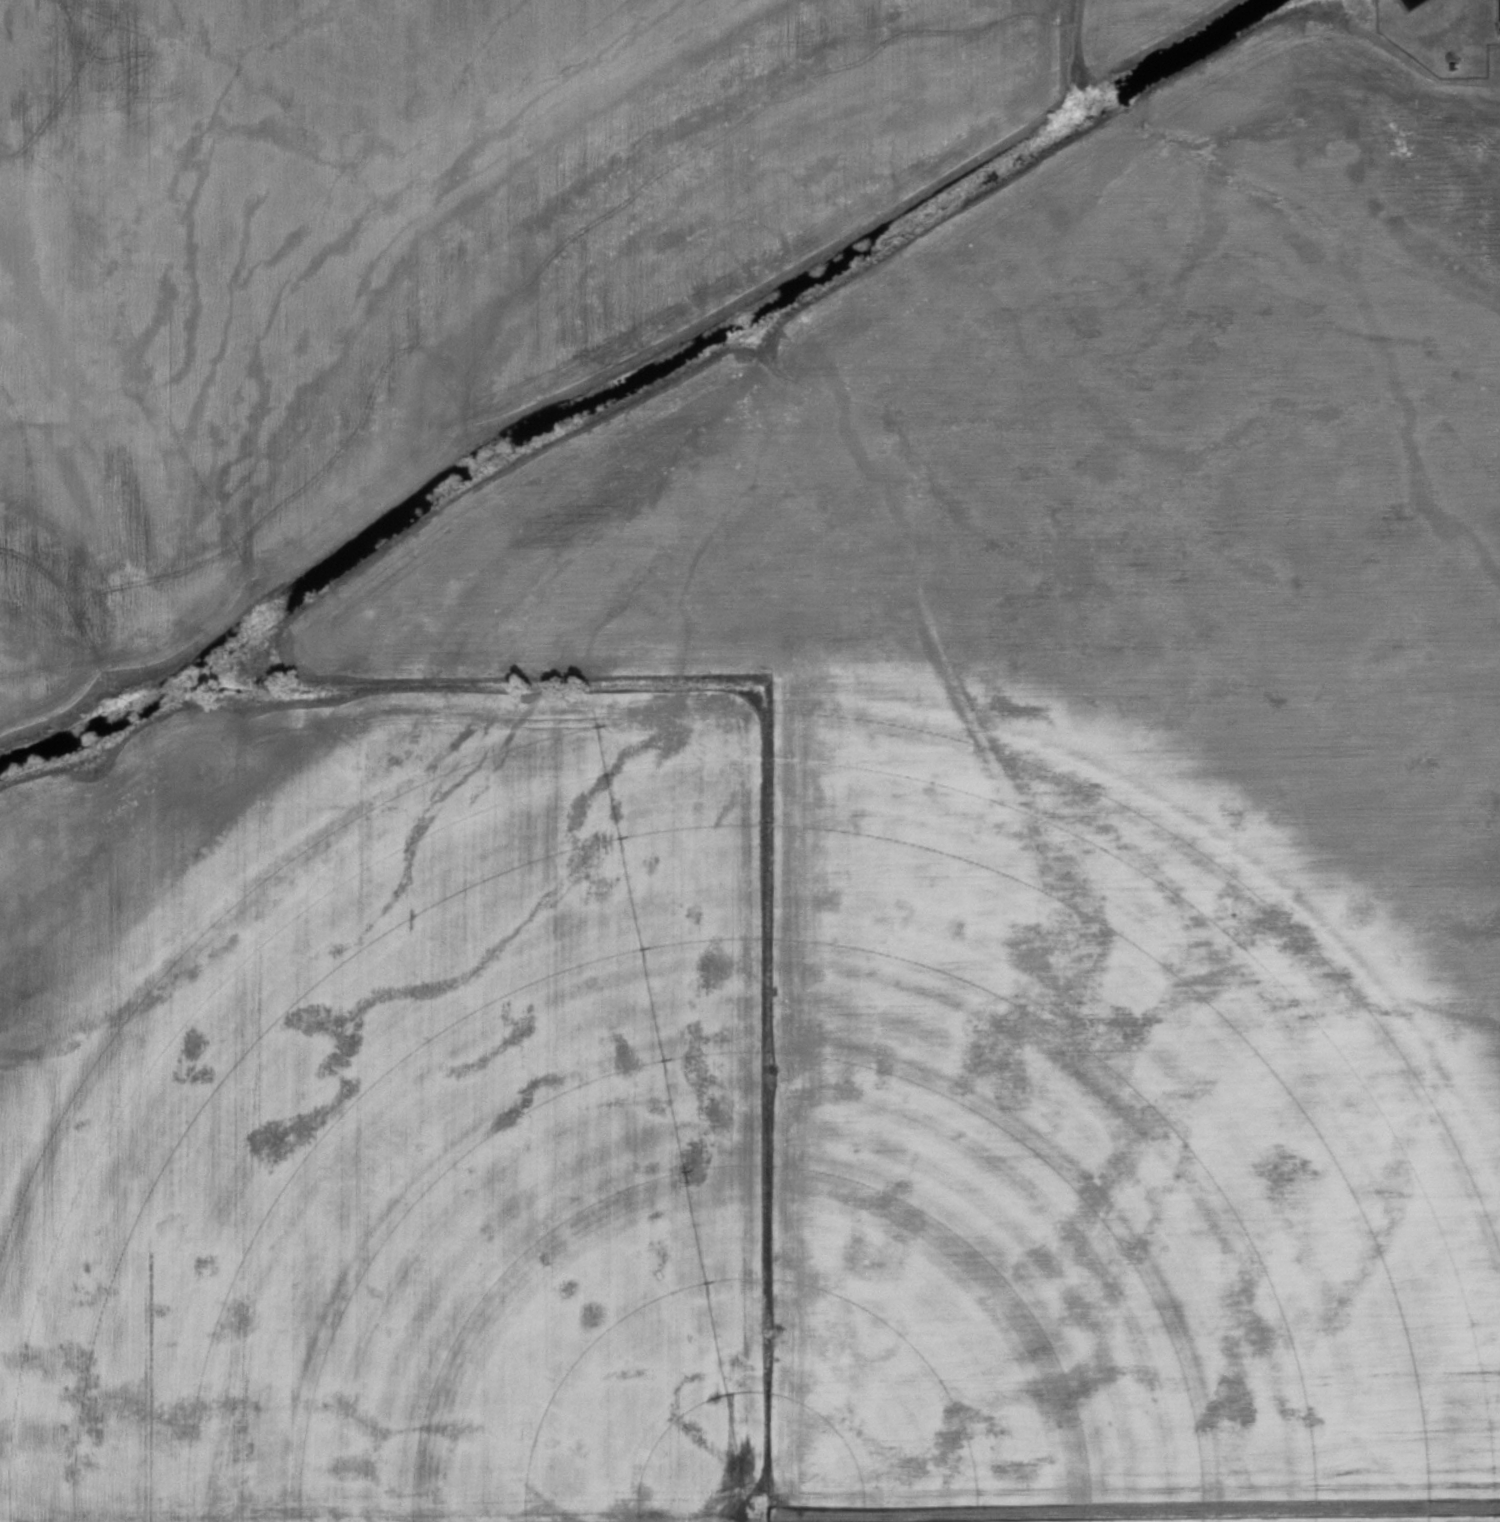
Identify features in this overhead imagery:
road: (966, 1515)

